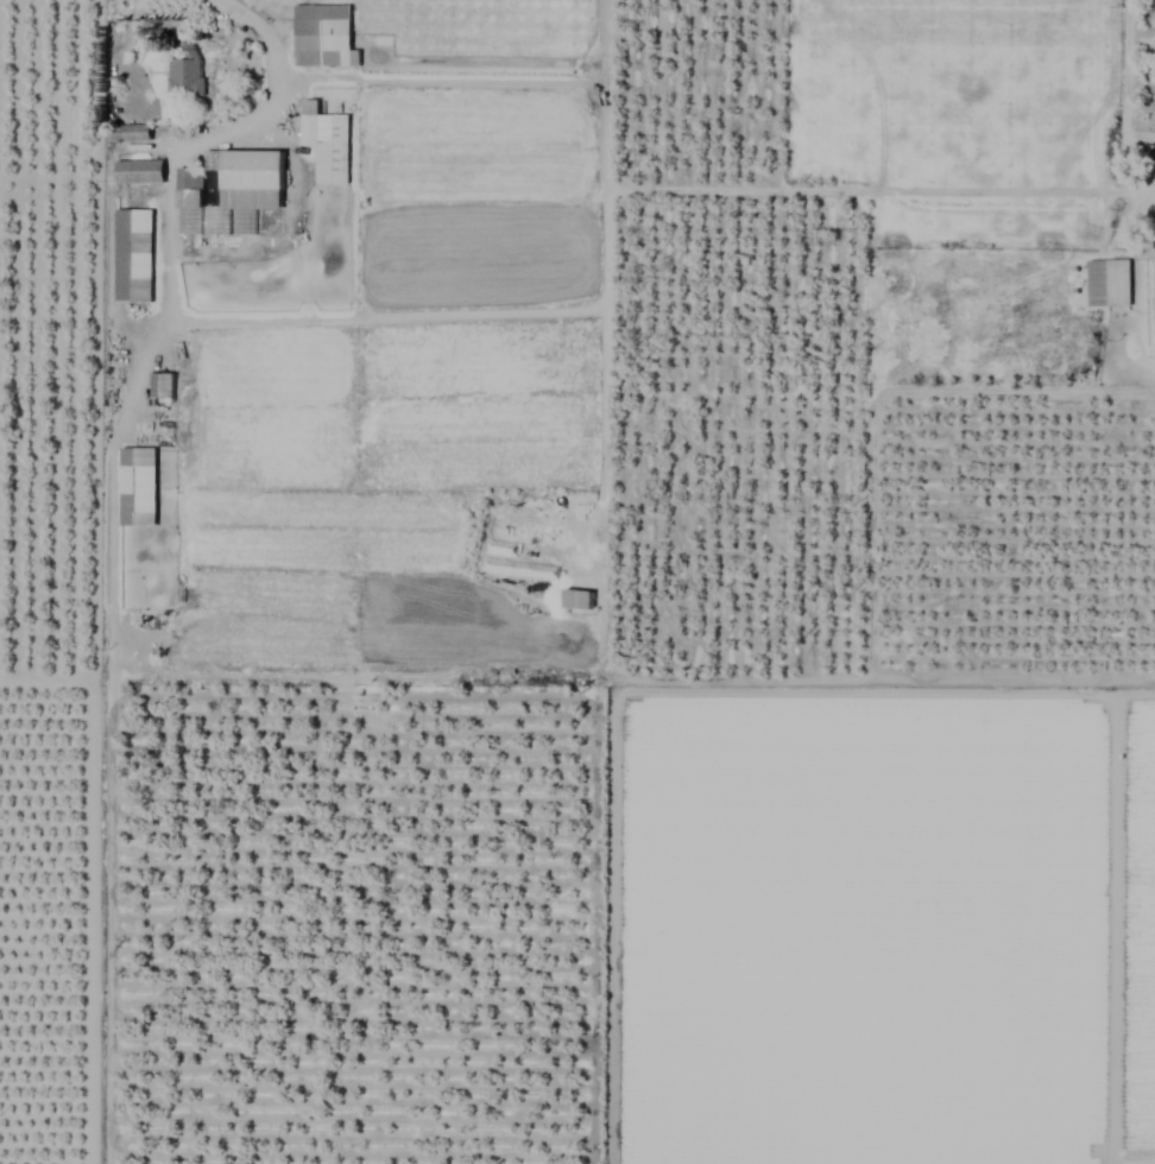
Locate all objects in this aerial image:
building: (322, 37)
road: (1126, 70)
building: (184, 78)
road: (270, 93)
building: (326, 144)
building: (139, 173)
building: (189, 182)
building: (245, 192)
building: (187, 221)
building: (133, 257)
building: (1107, 284)
building: (160, 386)
building: (137, 487)
crop: (577, 582)
building: (577, 601)
road: (1140, 1163)

